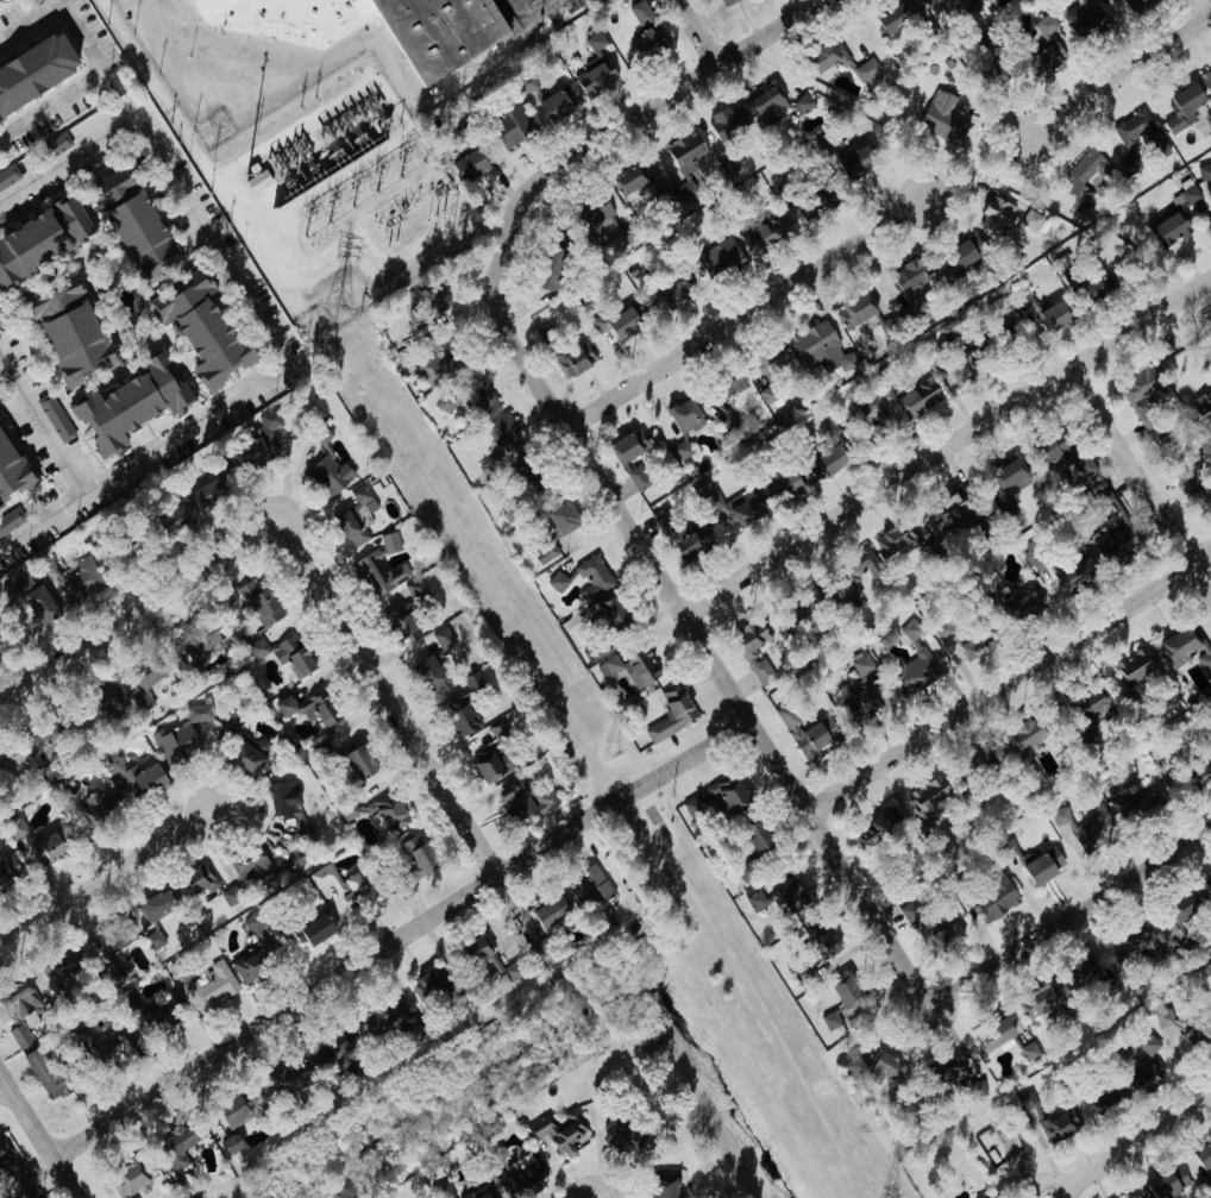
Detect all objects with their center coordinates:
building: (0, 0)
building: (6, 0)
building: (10, 0)
building: (722, 1)
building: (930, 4)
building: (1134, 6)
building: (972, 7)
road: (1206, 7)
building: (640, 13)
road: (529, 15)
building: (893, 17)
building: (1086, 19)
road: (697, 32)
building: (589, 39)
building: (438, 40)
building: (1044, 43)
building: (647, 44)
road: (96, 55)
building: (827, 55)
building: (33, 62)
building: (866, 71)
road: (1117, 75)
building: (594, 77)
building: (1206, 82)
road: (157, 92)
road: (661, 100)
building: (558, 101)
building: (803, 102)
building: (767, 104)
road: (390, 105)
building: (1182, 107)
building: (942, 118)
building: (724, 121)
building: (512, 126)
building: (1138, 134)
building: (686, 151)
road: (67, 158)
building: (469, 164)
building: (859, 164)
building: (1204, 171)
building: (7, 175)
building: (1085, 176)
building: (630, 177)
building: (258, 180)
building: (782, 181)
power substation: (338, 196)
building: (812, 199)
building: (996, 214)
building: (1175, 215)
building: (595, 219)
building: (1030, 219)
building: (132, 225)
building: (765, 230)
building: (40, 237)
road: (256, 246)
building: (720, 250)
building: (962, 251)
building: (550, 270)
building: (912, 277)
building: (677, 287)
building: (1093, 288)
building: (432, 297)
building: (1023, 302)
power tower: (340, 307)
building: (857, 308)
road: (743, 312)
building: (621, 314)
building: (1054, 315)
building: (887, 324)
building: (415, 330)
building: (202, 331)
building: (68, 332)
building: (820, 346)
building: (581, 351)
road: (742, 352)
building: (770, 356)
park: (1186, 357)
building: (435, 369)
building: (959, 369)
road: (265, 377)
building: (734, 383)
building: (768, 394)
building: (481, 397)
building: (918, 399)
building: (130, 402)
building: (1201, 402)
building: (446, 403)
building: (878, 415)
building: (684, 416)
building: (56, 419)
building: (724, 421)
road: (40, 424)
building: (827, 428)
building: (502, 433)
road: (946, 444)
building: (628, 445)
building: (680, 450)
building: (1054, 451)
building: (827, 462)
building: (491, 465)
building: (327, 466)
building: (1084, 466)
building: (11, 470)
building: (1008, 473)
road: (1140, 477)
building: (636, 478)
building: (780, 485)
building: (1185, 485)
building: (212, 488)
building: (1206, 500)
building: (743, 509)
building: (950, 512)
building: (356, 518)
building: (561, 519)
building: (10, 520)
building: (661, 520)
building: (174, 521)
building: (389, 541)
building: (695, 541)
building: (895, 542)
building: (1116, 545)
building: (545, 552)
building: (45, 564)
building: (861, 564)
building: (379, 571)
building: (1075, 573)
building: (594, 577)
building: (77, 581)
building: (557, 581)
building: (415, 589)
building: (259, 603)
building: (39, 604)
building: (1024, 606)
road: (139, 608)
building: (796, 610)
building: (613, 613)
road: (684, 614)
building: (404, 621)
building: (910, 629)
building: (443, 639)
building: (201, 644)
building: (257, 648)
building: (1186, 648)
building: (747, 652)
building: (290, 656)
building: (956, 658)
building: (861, 665)
building: (632, 667)
building: (1132, 669)
building: (429, 672)
building: (148, 675)
road: (1008, 679)
road: (388, 696)
building: (119, 701)
building: (861, 702)
building: (284, 707)
building: (463, 707)
building: (1092, 707)
building: (319, 709)
building: (199, 711)
building: (671, 714)
building: (786, 716)
building: (230, 723)
building: (1025, 734)
building: (48, 739)
building: (812, 740)
building: (175, 742)
power tower: (611, 749)
building: (247, 754)
building: (11, 760)
building: (984, 760)
building: (359, 763)
building: (490, 764)
building: (1204, 769)
building: (136, 777)
building: (928, 794)
building: (714, 798)
building: (284, 801)
building: (526, 803)
building: (1136, 803)
building: (98, 807)
building: (346, 810)
building: (388, 811)
building: (1085, 827)
building: (879, 828)
building: (34, 842)
building: (419, 855)
building: (294, 865)
building: (1043, 866)
building: (249, 867)
building: (8, 868)
road: (106, 876)
building: (197, 877)
building: (1207, 884)
building: (344, 886)
building: (590, 889)
building: (230, 896)
building: (755, 901)
building: (991, 903)
building: (156, 905)
building: (1184, 908)
building: (550, 912)
road: (1069, 915)
building: (602, 921)
building: (925, 929)
building: (313, 930)
road: (400, 934)
building: (1141, 939)
building: (155, 942)
building: (820, 946)
building: (256, 952)
building: (488, 960)
building: (1084, 966)
building: (58, 972)
building: (807, 974)
building: (208, 986)
building: (428, 986)
road: (761, 1001)
building: (1037, 1001)
building: (19, 1009)
building: (161, 1016)
building: (382, 1020)
building: (830, 1020)
building: (1162, 1020)
building: (1199, 1035)
building: (993, 1036)
building: (1149, 1045)
building: (111, 1046)
building: (332, 1049)
building: (1029, 1052)
building: (877, 1070)
building: (42, 1073)
building: (950, 1075)
building: (1146, 1079)
road: (2, 1083)
building: (1105, 1098)
building: (238, 1110)
building: (1058, 1125)
building: (558, 1131)
road: (39, 1135)
building: (622, 1137)
road: (1134, 1141)
building: (1010, 1144)
building: (231, 1147)
building: (175, 1150)
building: (1204, 1159)
building: (515, 1173)
building: (1163, 1186)
building: (441, 1190)
building: (664, 1191)
building: (479, 1192)
power tower: (889, 1193)
building: (991, 1197)

